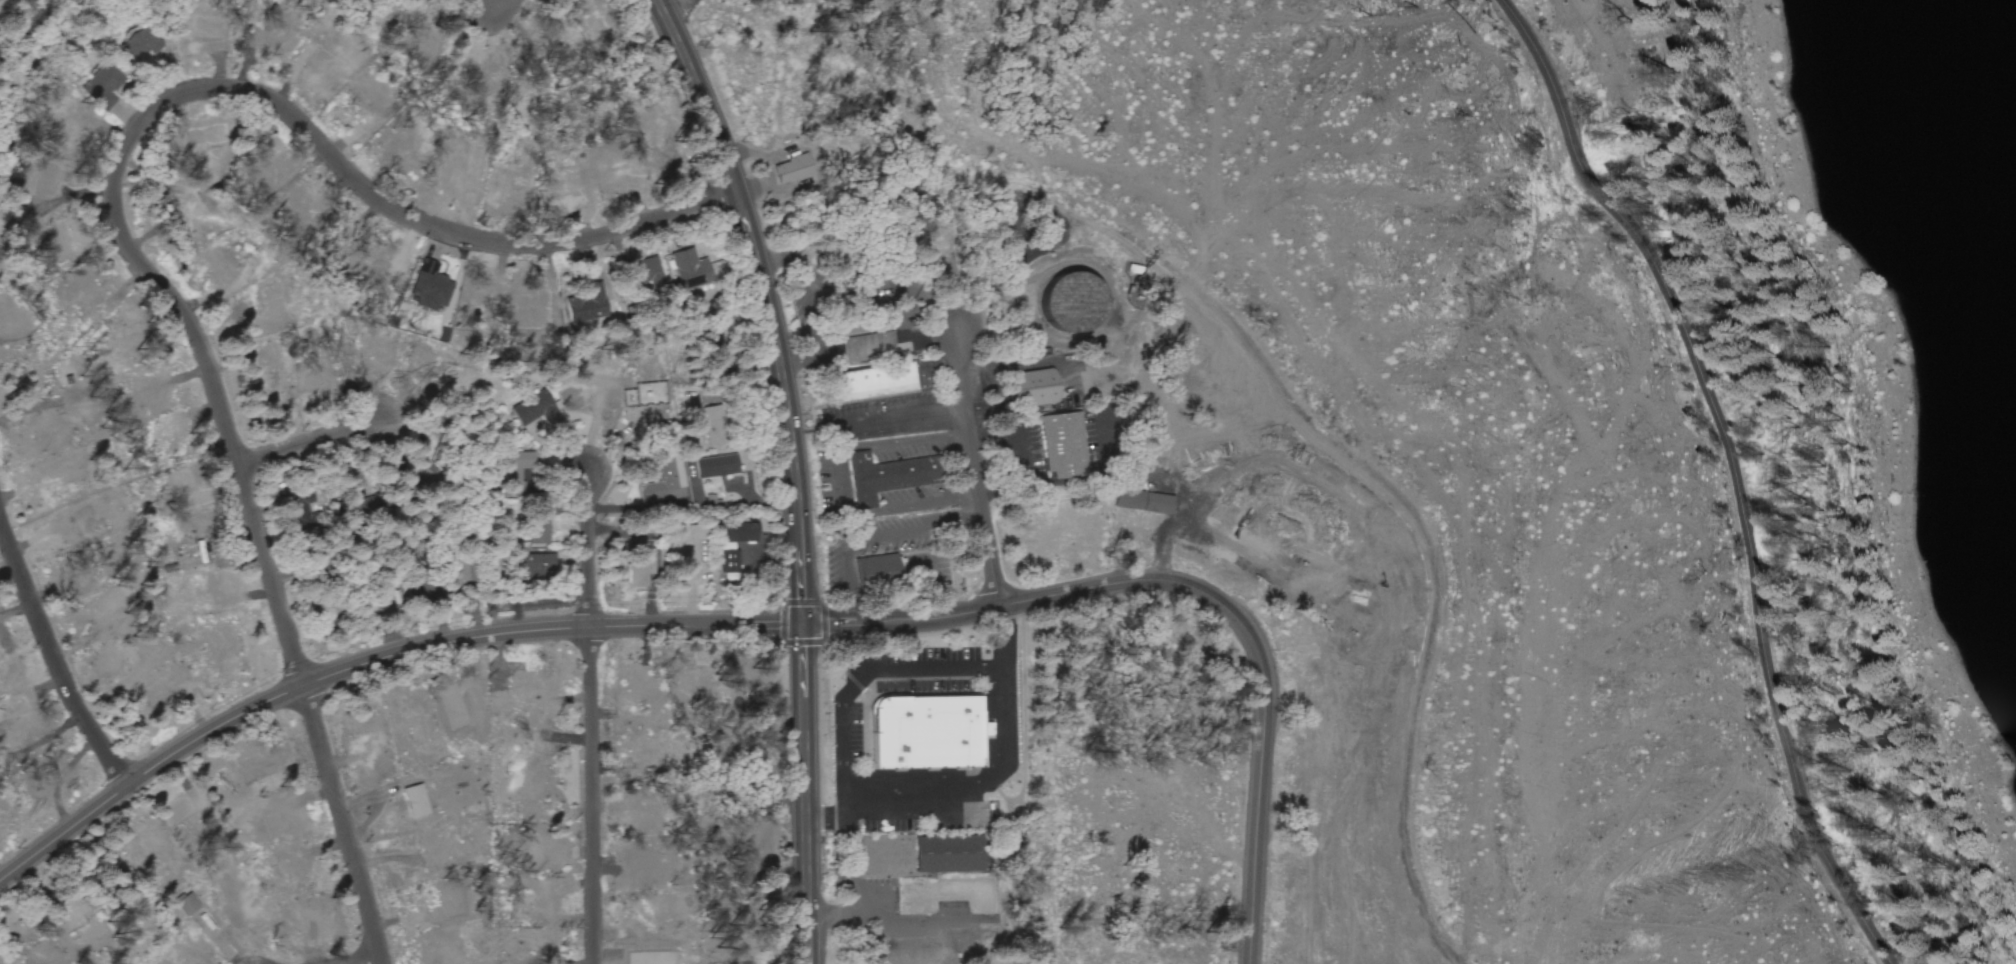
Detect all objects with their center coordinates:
road: (495, 4)
building: (103, 88)
road: (164, 108)
building: (691, 272)
building: (648, 276)
building: (855, 297)
storage tank: (1071, 301)
building: (588, 307)
building: (862, 337)
building: (870, 381)
building: (1032, 388)
building: (538, 412)
building: (713, 428)
road: (310, 442)
building: (1063, 447)
road: (974, 468)
building: (715, 469)
road: (798, 470)
road: (1718, 471)
building: (889, 475)
building: (1142, 502)
building: (686, 546)
road: (586, 547)
building: (731, 549)
building: (535, 567)
building: (876, 567)
building: (638, 569)
road: (1198, 590)
road: (50, 655)
road: (374, 660)
parking lot: (918, 669)
road: (860, 676)
parking lot: (853, 733)
building: (925, 733)
building: (855, 780)
road: (981, 780)
road: (591, 796)
road: (345, 824)
parking lot: (882, 826)
building: (948, 854)
building: (946, 895)
road: (370, 961)

